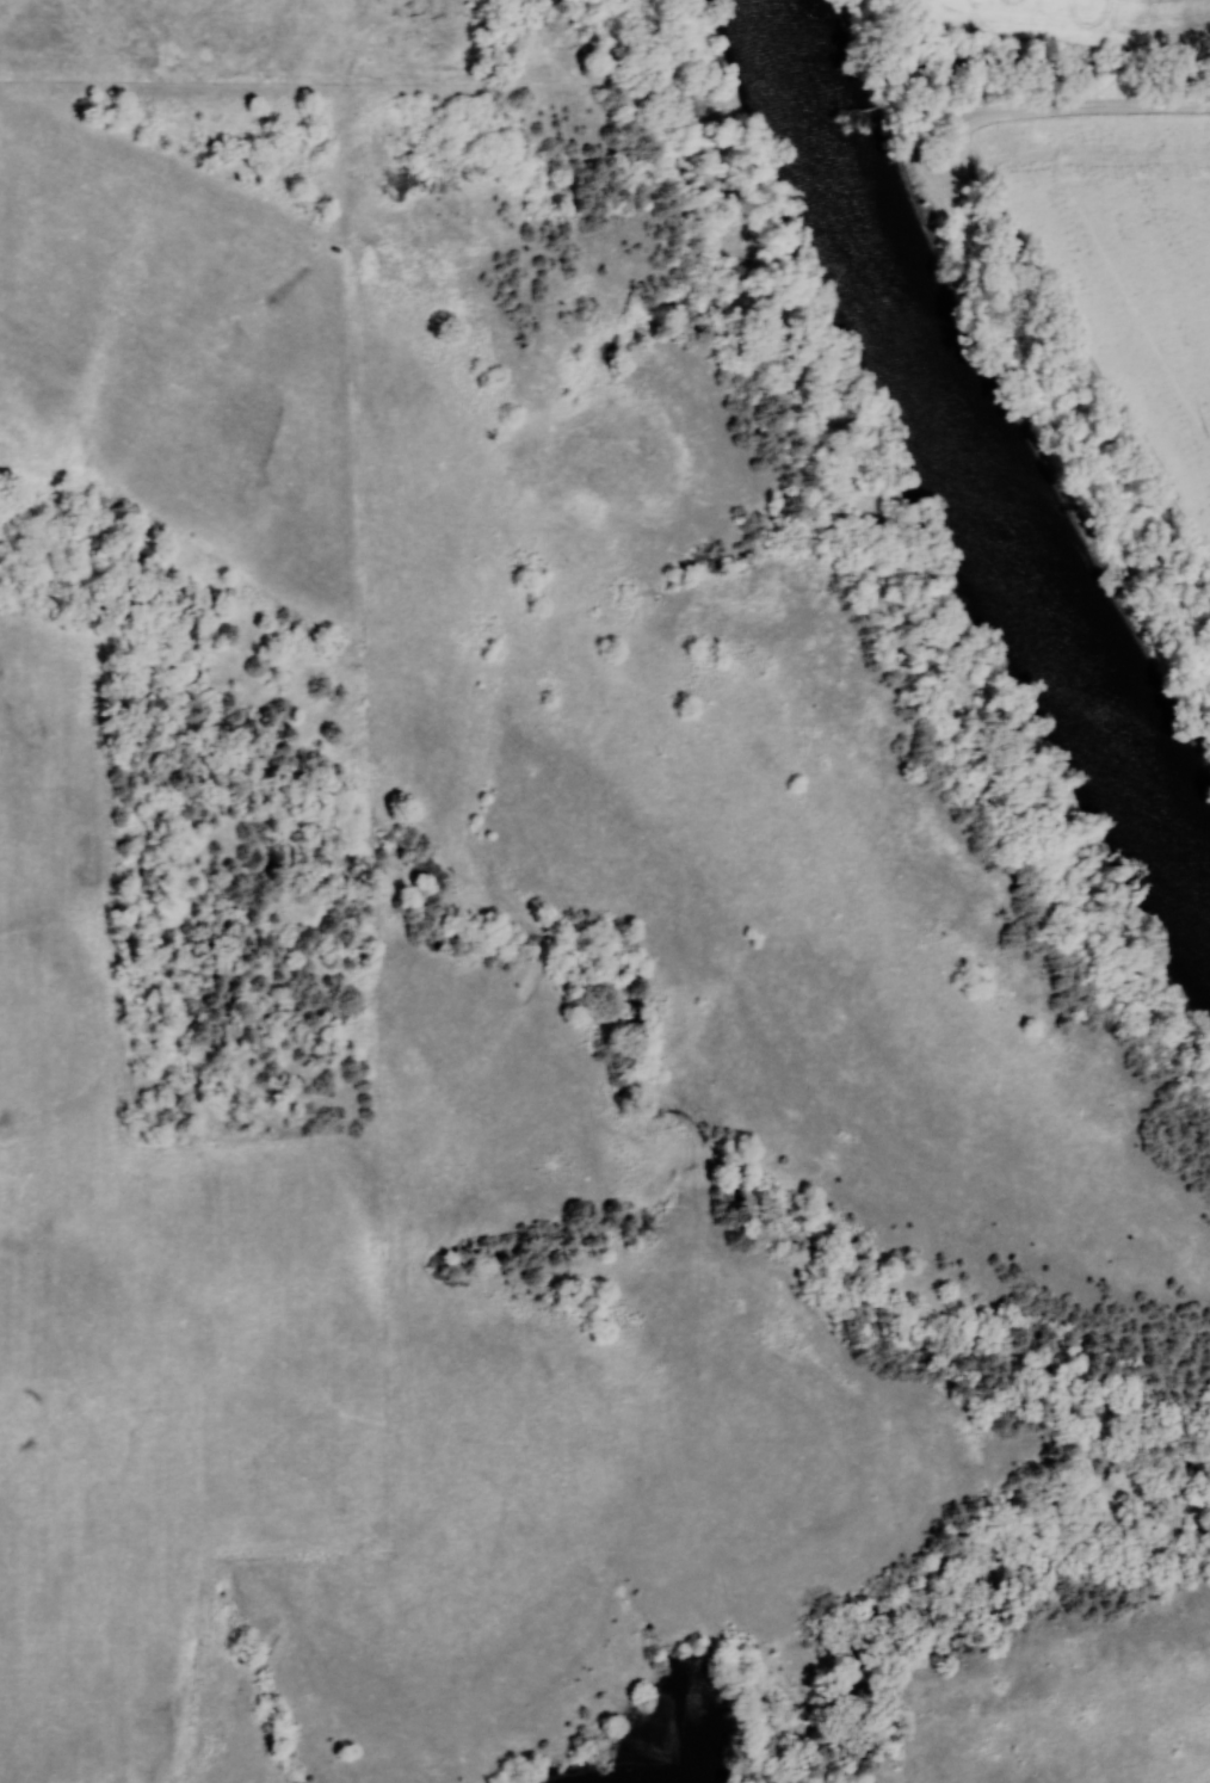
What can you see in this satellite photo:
river: (974, 446)

